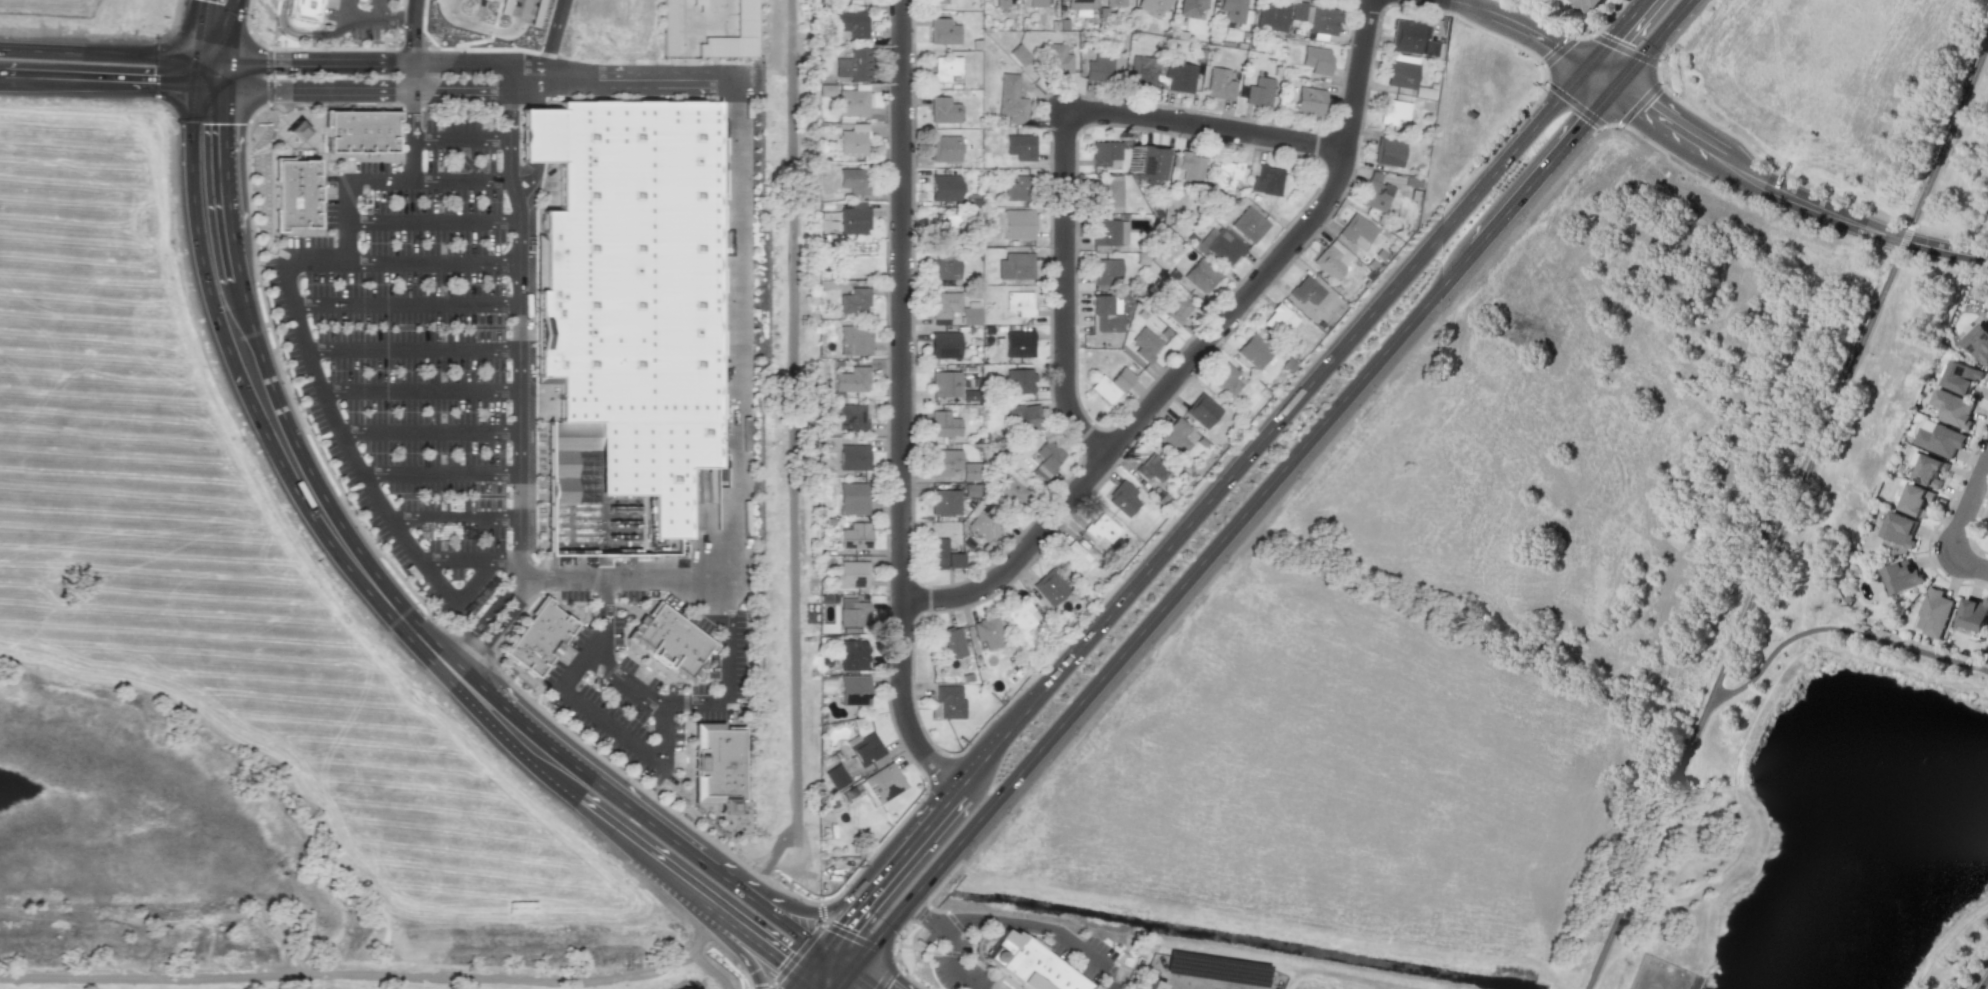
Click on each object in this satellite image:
building: (937, 1)
building: (1004, 2)
building: (1115, 2)
road: (1470, 2)
building: (1037, 3)
building: (706, 4)
building: (1079, 4)
building: (1153, 4)
building: (1587, 4)
building: (1192, 7)
road: (345, 9)
road: (376, 9)
building: (301, 10)
building: (1234, 10)
building: (1298, 11)
building: (1274, 15)
road: (359, 18)
road: (393, 18)
building: (747, 18)
road: (466, 20)
building: (1324, 20)
road: (516, 21)
building: (851, 22)
road: (1522, 27)
building: (669, 28)
road: (212, 29)
building: (943, 31)
road: (303, 33)
road: (308, 33)
road: (1611, 36)
road: (552, 37)
building: (1411, 38)
road: (412, 44)
road: (1647, 46)
road: (102, 54)
building: (1018, 55)
building: (1057, 58)
traffic signals: (205, 59)
road: (356, 60)
building: (1317, 60)
building: (852, 65)
building: (1099, 67)
building: (945, 68)
road: (204, 72)
building: (1142, 72)
traffic signals: (1579, 72)
building: (1401, 74)
building: (1180, 76)
road: (622, 78)
road: (1, 79)
road: (103, 82)
road: (1594, 82)
building: (1219, 84)
crop: (1852, 85)
traffic signals: (204, 86)
road: (460, 87)
road: (308, 90)
building: (827, 90)
building: (1260, 92)
traffic signals: (1610, 93)
building: (1011, 100)
building: (1311, 101)
building: (853, 103)
building: (943, 110)
building: (1393, 111)
building: (361, 125)
road: (1205, 125)
road: (1577, 130)
road: (412, 134)
road: (460, 139)
building: (852, 144)
building: (1021, 144)
building: (945, 145)
road: (1948, 146)
building: (1105, 152)
building: (1388, 152)
building: (1149, 159)
street lamp: (251, 163)
building: (1191, 163)
building: (1227, 171)
building: (1267, 177)
road: (461, 180)
building: (853, 180)
building: (945, 185)
road: (343, 186)
building: (1020, 186)
building: (296, 188)
building: (1106, 191)
building: (1374, 193)
road: (1790, 195)
road: (1509, 207)
building: (854, 218)
building: (947, 220)
road: (431, 221)
building: (1019, 221)
building: (1249, 222)
building: (1357, 228)
building: (1104, 229)
building: (1223, 245)
building: (1328, 259)
road: (430, 262)
building: (945, 263)
building: (1016, 264)
building: (1105, 267)
building: (1200, 273)
street lamp: (257, 284)
building: (1307, 287)
building: (629, 289)
road: (1063, 291)
building: (854, 298)
building: (1020, 300)
building: (946, 302)
road: (404, 303)
building: (1176, 304)
building: (1102, 310)
building: (971, 313)
road: (519, 318)
street lamp: (1248, 318)
building: (1279, 319)
building: (855, 337)
building: (1976, 341)
building: (1019, 342)
building: (1145, 342)
building: (946, 343)
building: (1254, 348)
road: (413, 349)
road: (1196, 350)
parking lot: (409, 355)
building: (852, 377)
building: (1225, 377)
building: (1961, 377)
building: (1020, 378)
building: (946, 382)
building: (1111, 382)
road: (420, 390)
street lamp: (295, 399)
road: (900, 403)
building: (1202, 408)
building: (1953, 408)
building: (853, 414)
building: (1025, 415)
building: (944, 423)
road: (429, 431)
road: (735, 432)
building: (1174, 435)
street lamp: (1979, 436)
road: (344, 438)
building: (1939, 438)
building: (854, 455)
road: (794, 456)
building: (1047, 457)
building: (946, 460)
building: (1152, 466)
road: (296, 467)
building: (971, 469)
building: (1928, 470)
road: (440, 472)
building: (972, 488)
building: (1012, 489)
building: (853, 493)
building: (1124, 496)
road: (1970, 497)
building: (1916, 499)
building: (945, 500)
street lamp: (1984, 501)
street lamp: (352, 509)
road: (1199, 510)
road: (1786, 515)
road: (454, 517)
road: (1785, 518)
building: (986, 524)
building: (1102, 527)
building: (1899, 529)
building: (856, 534)
street lamp: (1929, 546)
building: (944, 552)
building: (1074, 557)
road: (1966, 557)
building: (851, 573)
building: (1902, 573)
crop: (243, 584)
building: (1051, 586)
road: (455, 601)
crop: (1469, 604)
road: (1160, 608)
road: (492, 609)
building: (854, 613)
building: (1933, 613)
building: (1022, 614)
road: (1753, 614)
building: (1973, 614)
road: (605, 616)
road: (506, 617)
road: (1840, 628)
building: (989, 630)
building: (540, 638)
building: (675, 639)
building: (1987, 640)
building: (949, 641)
building: (852, 653)
road: (463, 657)
road: (580, 667)
street lamp: (503, 668)
road: (728, 669)
road: (627, 682)
road: (886, 686)
parking lot: (648, 687)
building: (854, 689)
building: (950, 700)
road: (614, 724)
road: (665, 735)
street lamp: (591, 745)
building: (866, 748)
building: (722, 762)
building: (836, 775)
building: (884, 781)
road: (630, 807)
street lamp: (679, 811)
road: (629, 833)
street lamp: (750, 865)
road: (863, 873)
road: (723, 875)
road: (940, 885)
road: (721, 901)
road: (930, 917)
road: (783, 920)
road: (1009, 923)
road: (961, 929)
building: (991, 931)
road: (849, 935)
road: (768, 937)
building: (983, 937)
building: (1027, 937)
building: (921, 938)
building: (978, 945)
road: (696, 946)
traffic signals: (819, 947)
road: (897, 947)
road: (744, 949)
road: (935, 949)
building: (1124, 953)
building: (978, 955)
road: (811, 957)
building: (1130, 958)
road: (833, 959)
road: (789, 961)
building: (1032, 965)
traffic signals: (804, 967)
traffic signals: (848, 971)
road: (994, 972)
street lamp: (1975, 972)
road: (354, 973)
road: (889, 974)
road: (745, 975)
road: (795, 978)
road: (815, 978)
road: (840, 980)
road: (858, 980)
road: (1201, 981)
building: (1153, 984)
road: (1985, 985)
road: (773, 987)

